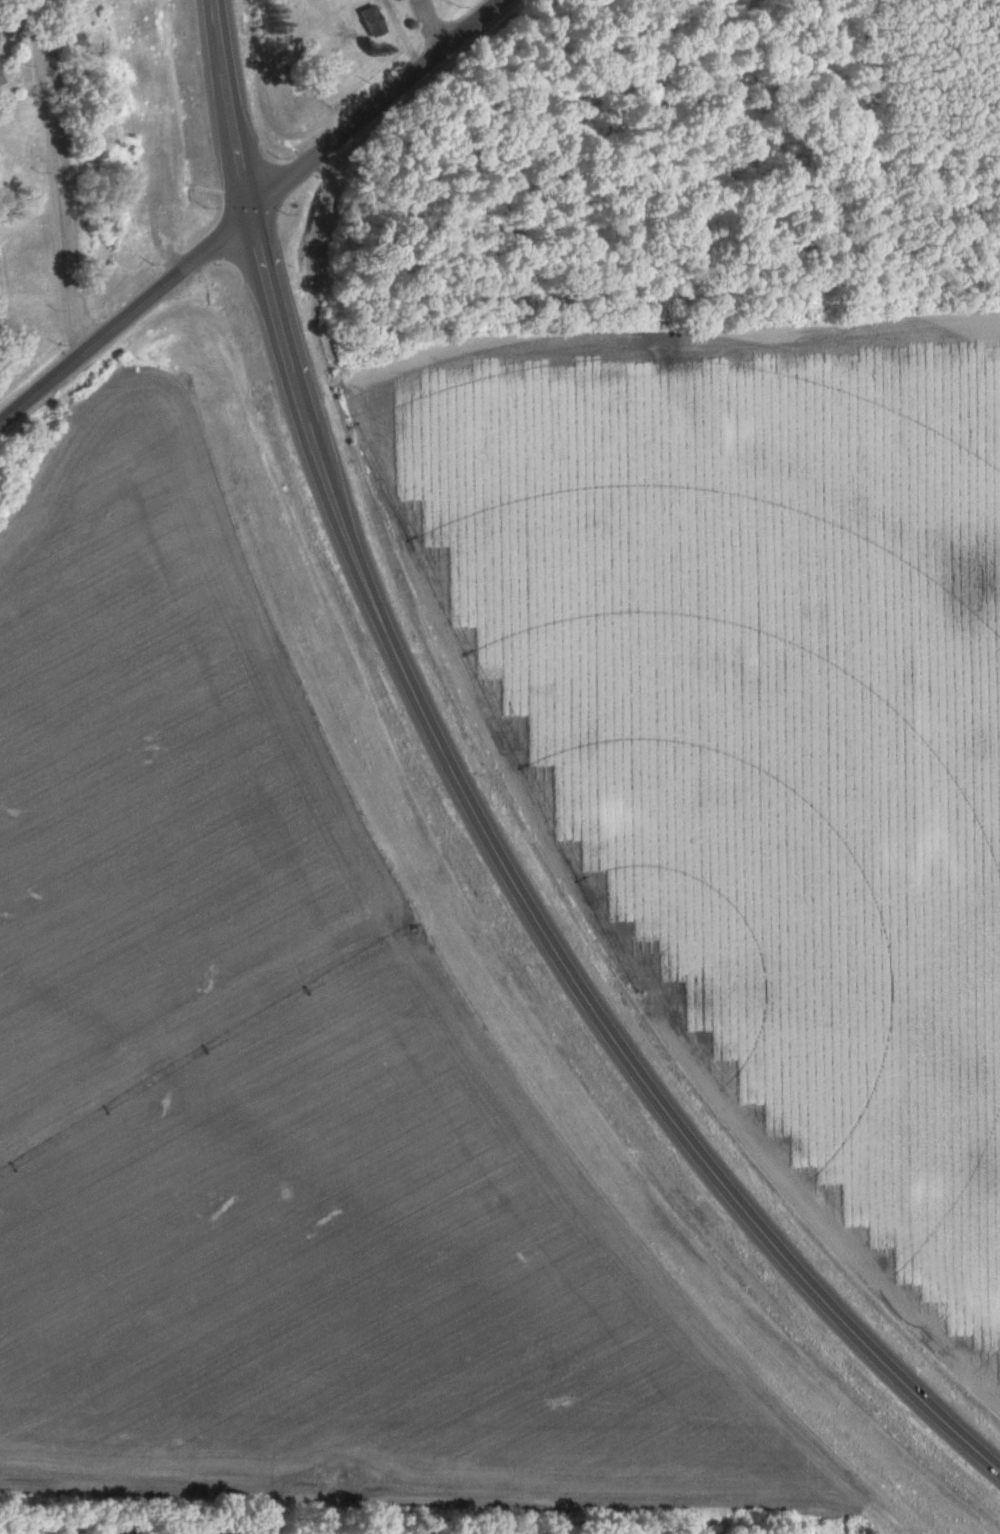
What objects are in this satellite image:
road: (429, 21)
building: (372, 24)
building: (1, 82)
road: (57, 177)
road: (253, 218)
crop: (760, 731)
road: (475, 802)

